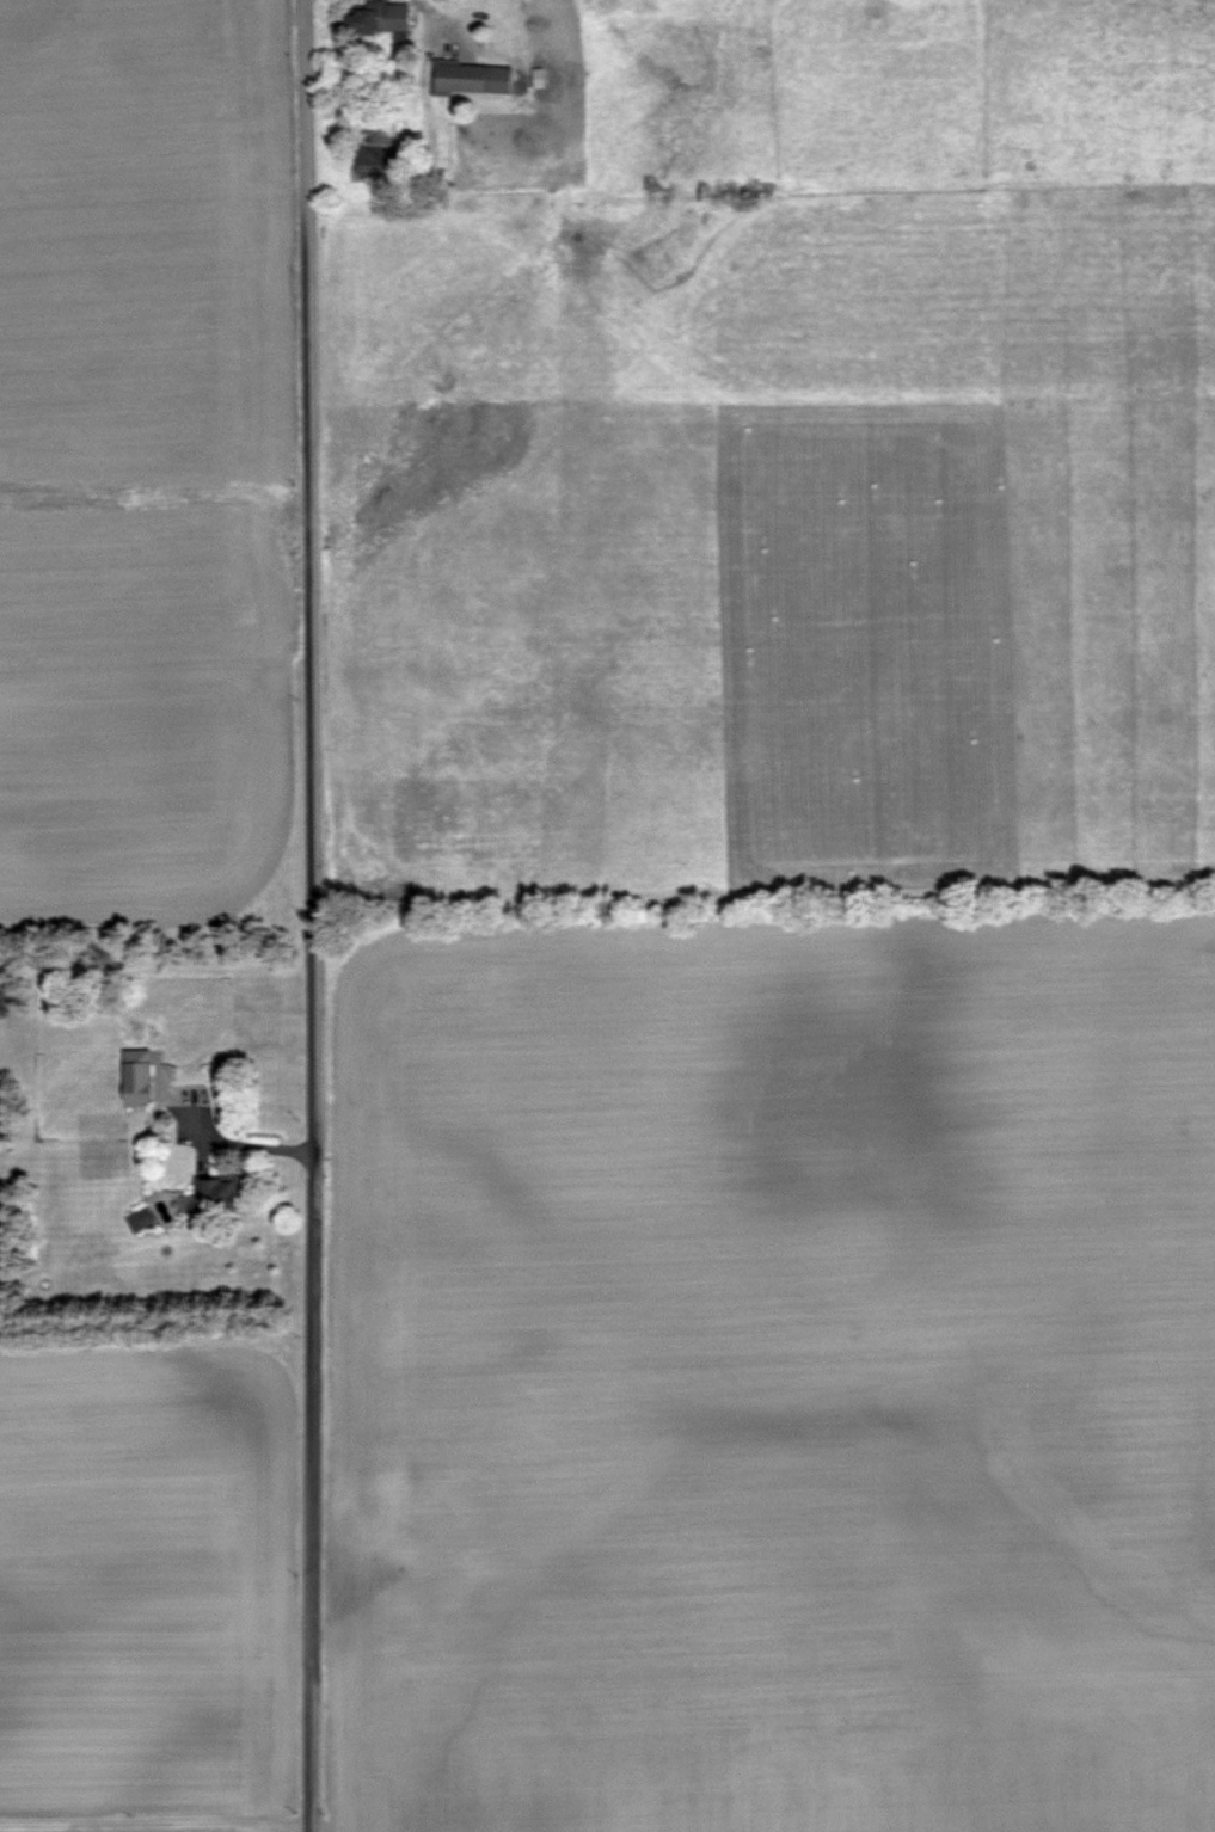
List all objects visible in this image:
building: (378, 17)
road: (434, 18)
building: (471, 76)
road: (307, 915)
building: (136, 1077)
road: (237, 1146)
building: (215, 1192)
road: (361, 1586)
road: (153, 1826)

